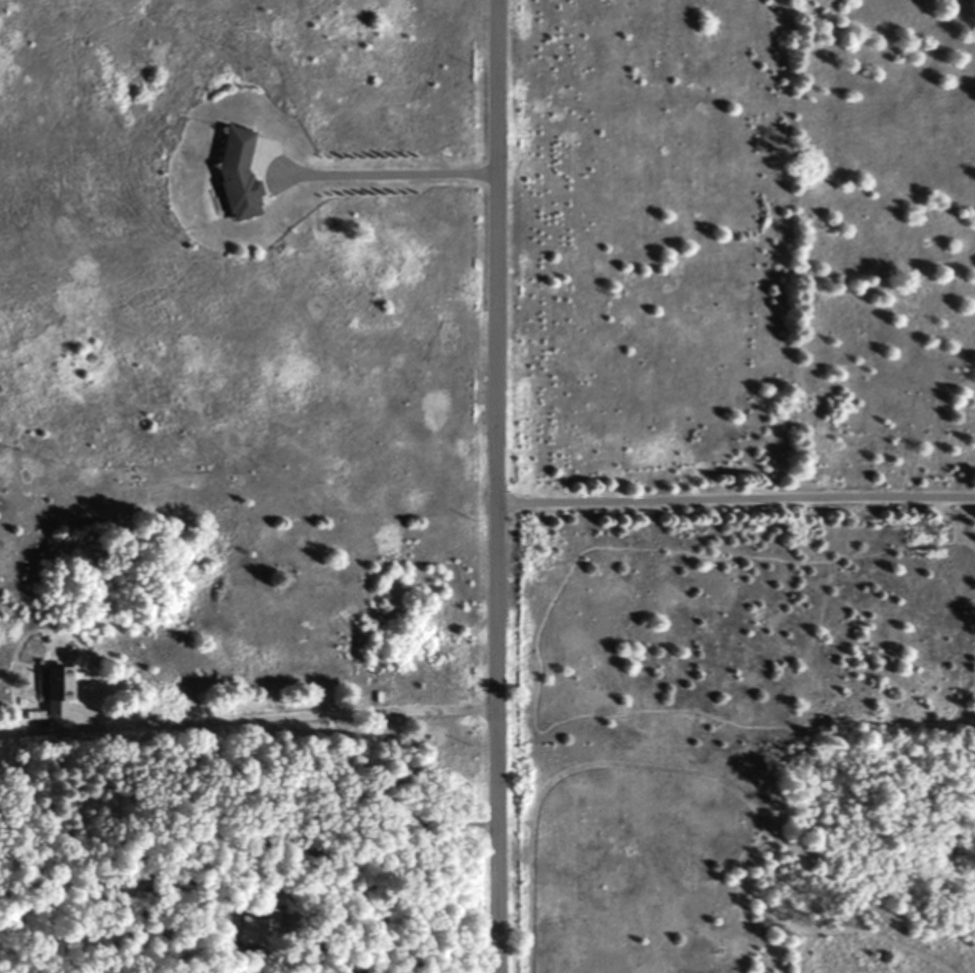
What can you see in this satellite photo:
road: (380, 171)
building: (232, 176)
road: (493, 486)
road: (734, 496)
building: (53, 690)
road: (246, 713)
building: (256, 929)

